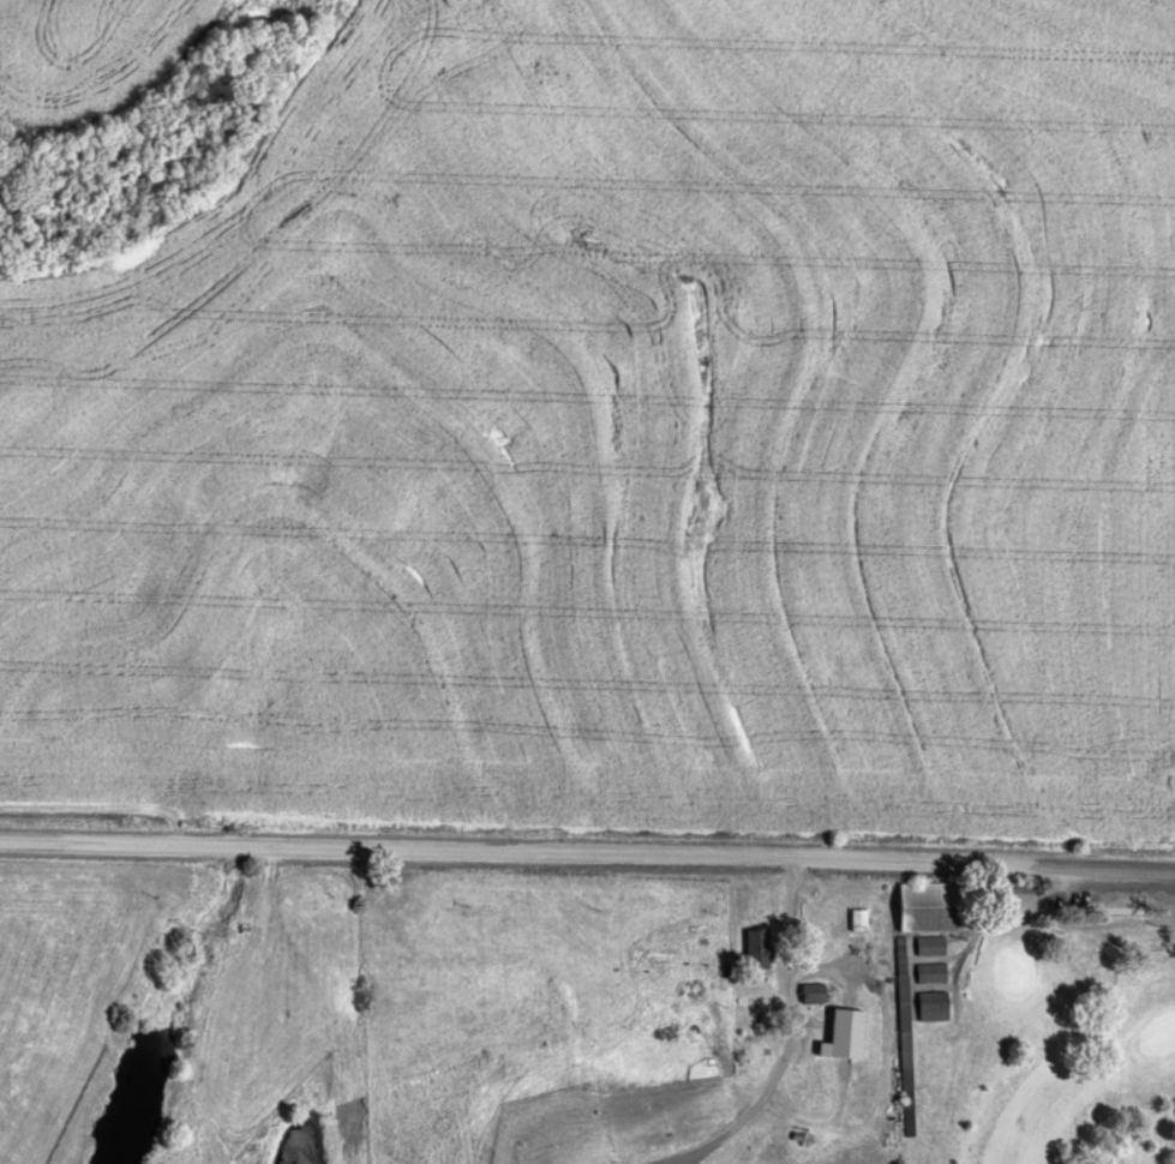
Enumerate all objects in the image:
road: (587, 844)
building: (934, 908)
building: (858, 920)
building: (759, 947)
building: (931, 947)
building: (933, 973)
building: (815, 995)
park: (1032, 1018)
building: (841, 1026)
building: (777, 1050)

